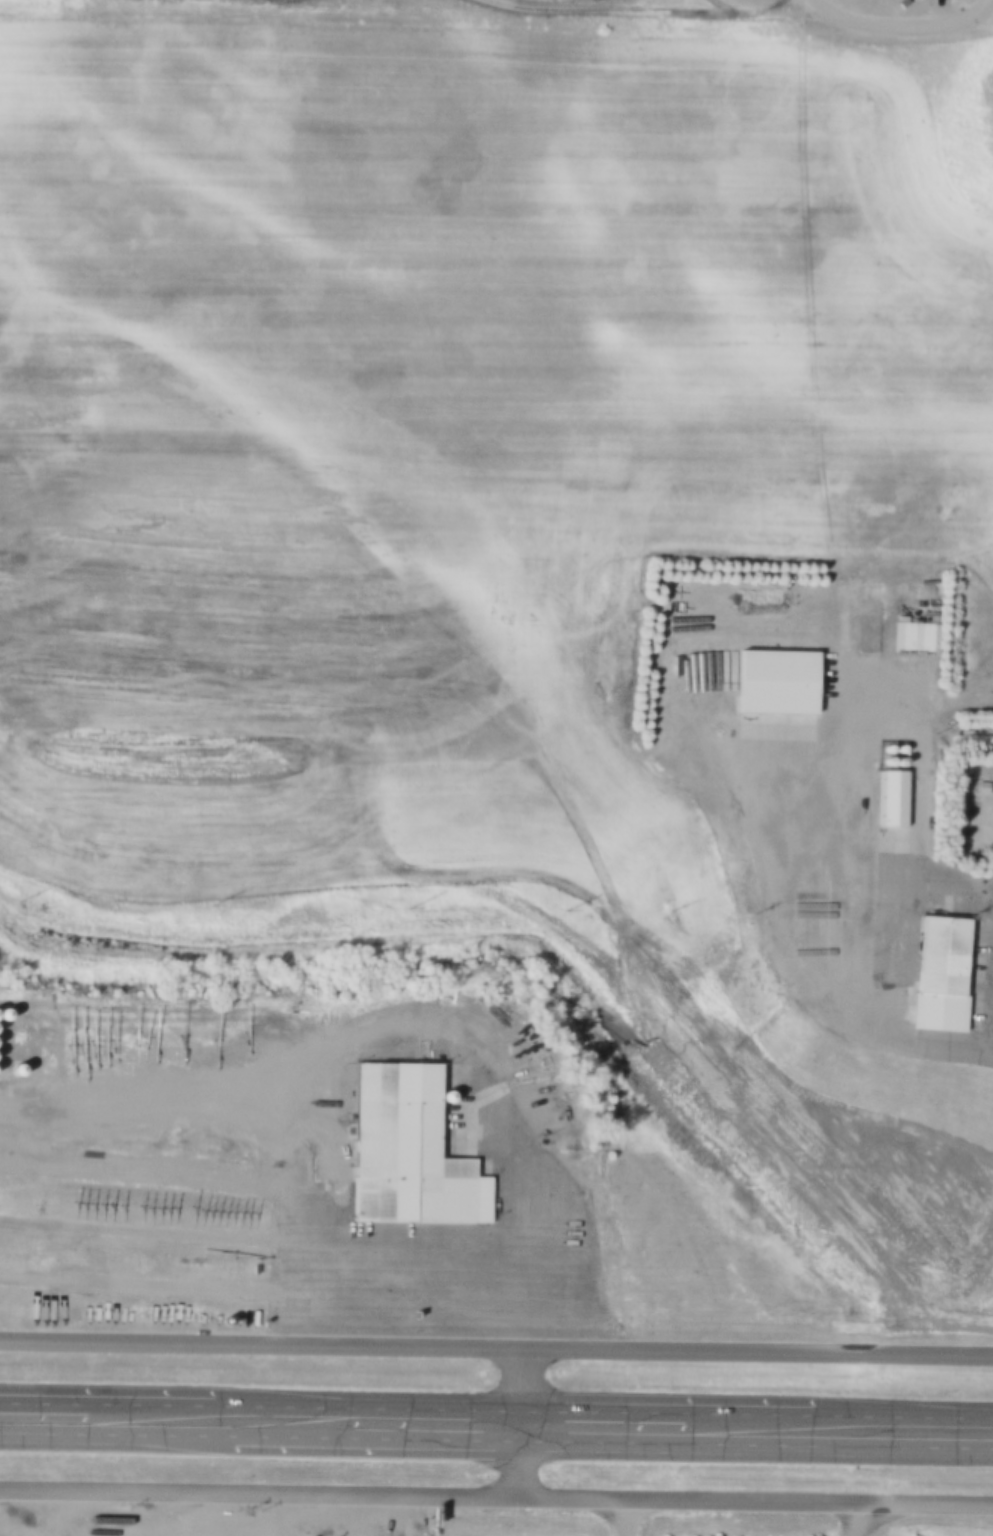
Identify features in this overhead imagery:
road: (991, 1)
road: (722, 2)
road: (643, 3)
road: (826, 5)
quarry: (377, 9)
road: (913, 16)
building: (919, 640)
building: (774, 676)
road: (802, 757)
building: (981, 787)
building: (892, 793)
road: (945, 881)
building: (937, 975)
road: (144, 1113)
building: (402, 1143)
road: (358, 1283)
road: (496, 1343)
road: (496, 1412)
road: (523, 1421)
road: (496, 1443)
road: (496, 1496)
road: (143, 1512)
road: (632, 1515)
road: (864, 1517)

